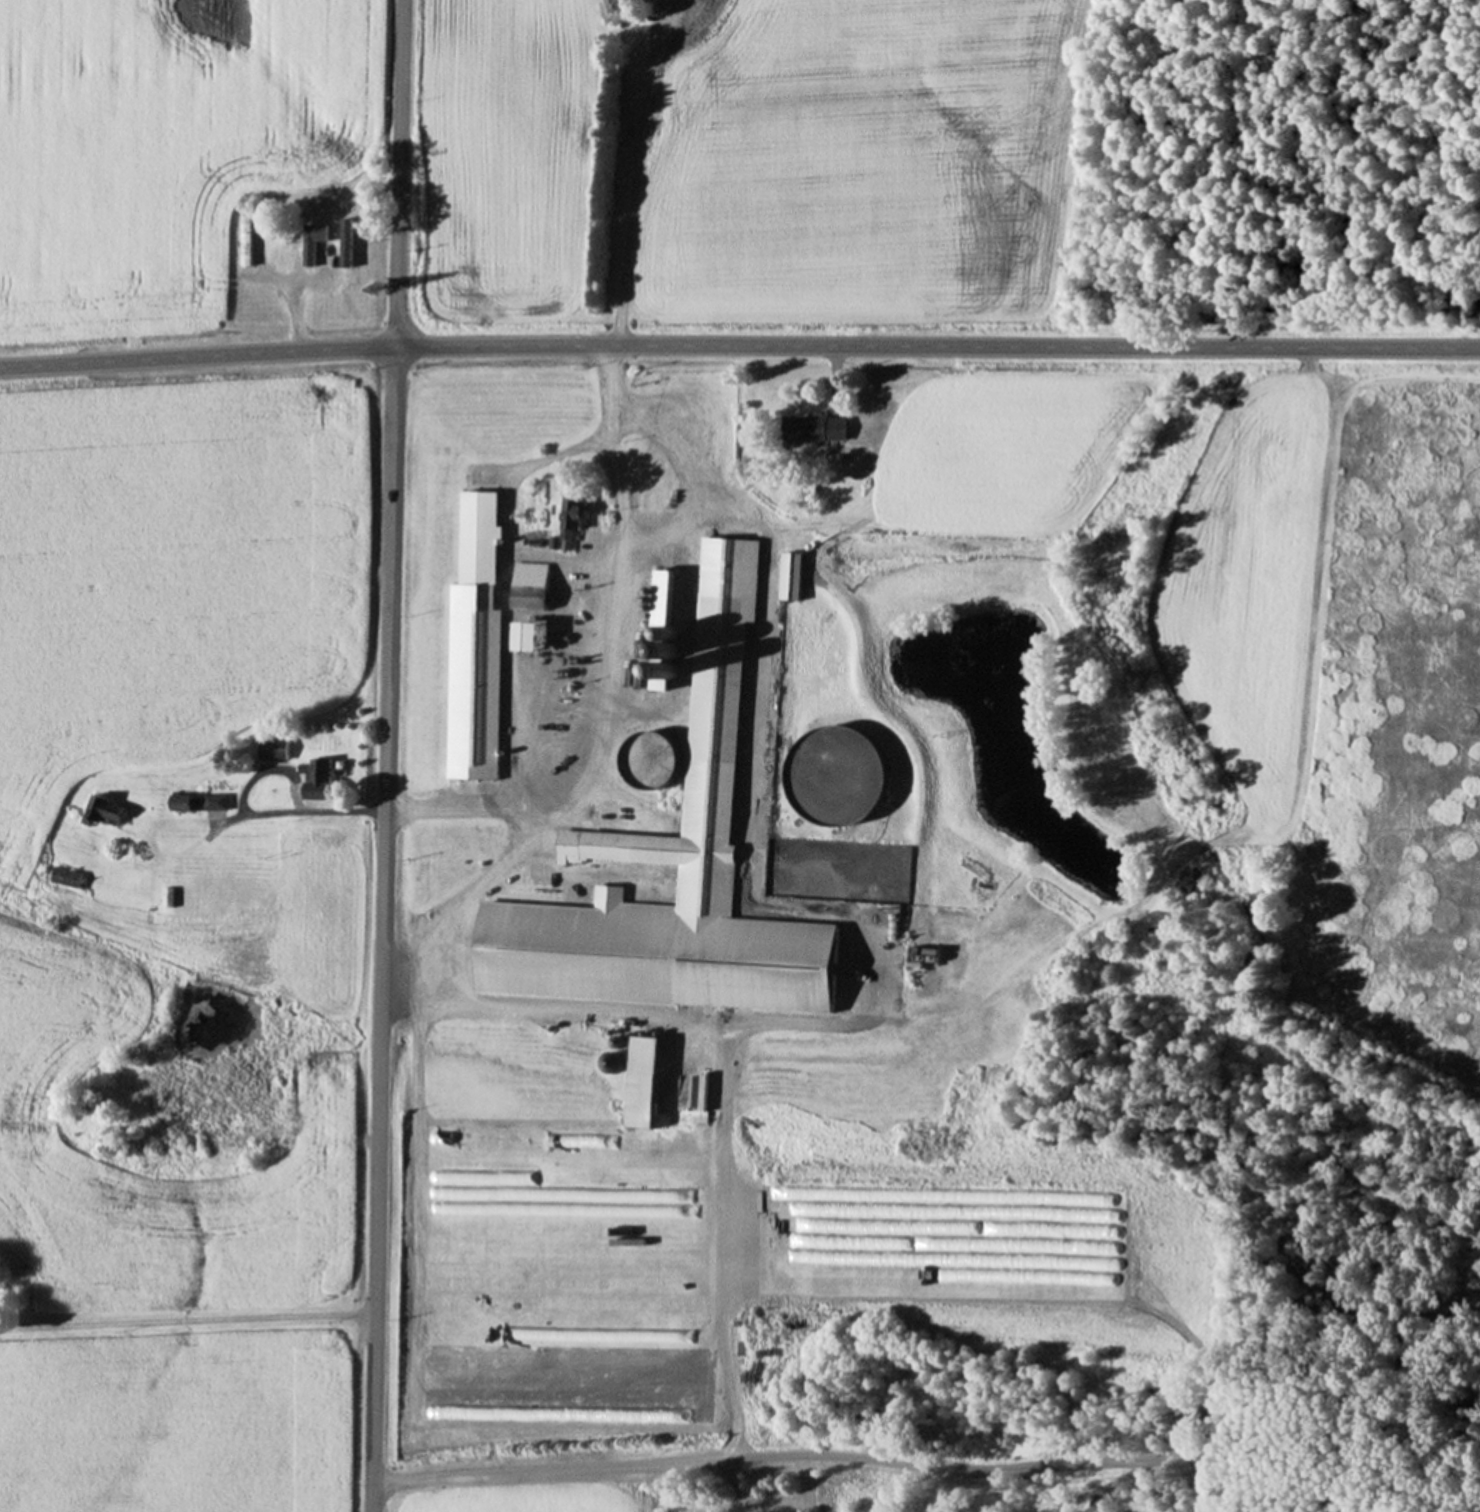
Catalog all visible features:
building: (250, 239)
building: (317, 240)
building: (352, 240)
road: (296, 319)
road: (739, 346)
building: (816, 426)
building: (1232, 466)
road: (688, 472)
building: (575, 521)
building: (698, 556)
road: (599, 571)
building: (1254, 571)
building: (795, 575)
building: (544, 587)
building: (480, 674)
building: (1215, 710)
building: (276, 748)
road: (387, 755)
building: (656, 759)
building: (325, 770)
building: (844, 774)
building: (185, 801)
building: (109, 810)
building: (713, 822)
building: (70, 876)
building: (218, 896)
road: (1080, 932)
road: (490, 943)
building: (644, 1079)
road: (188, 1321)
building: (660, 1399)
road: (766, 1457)

